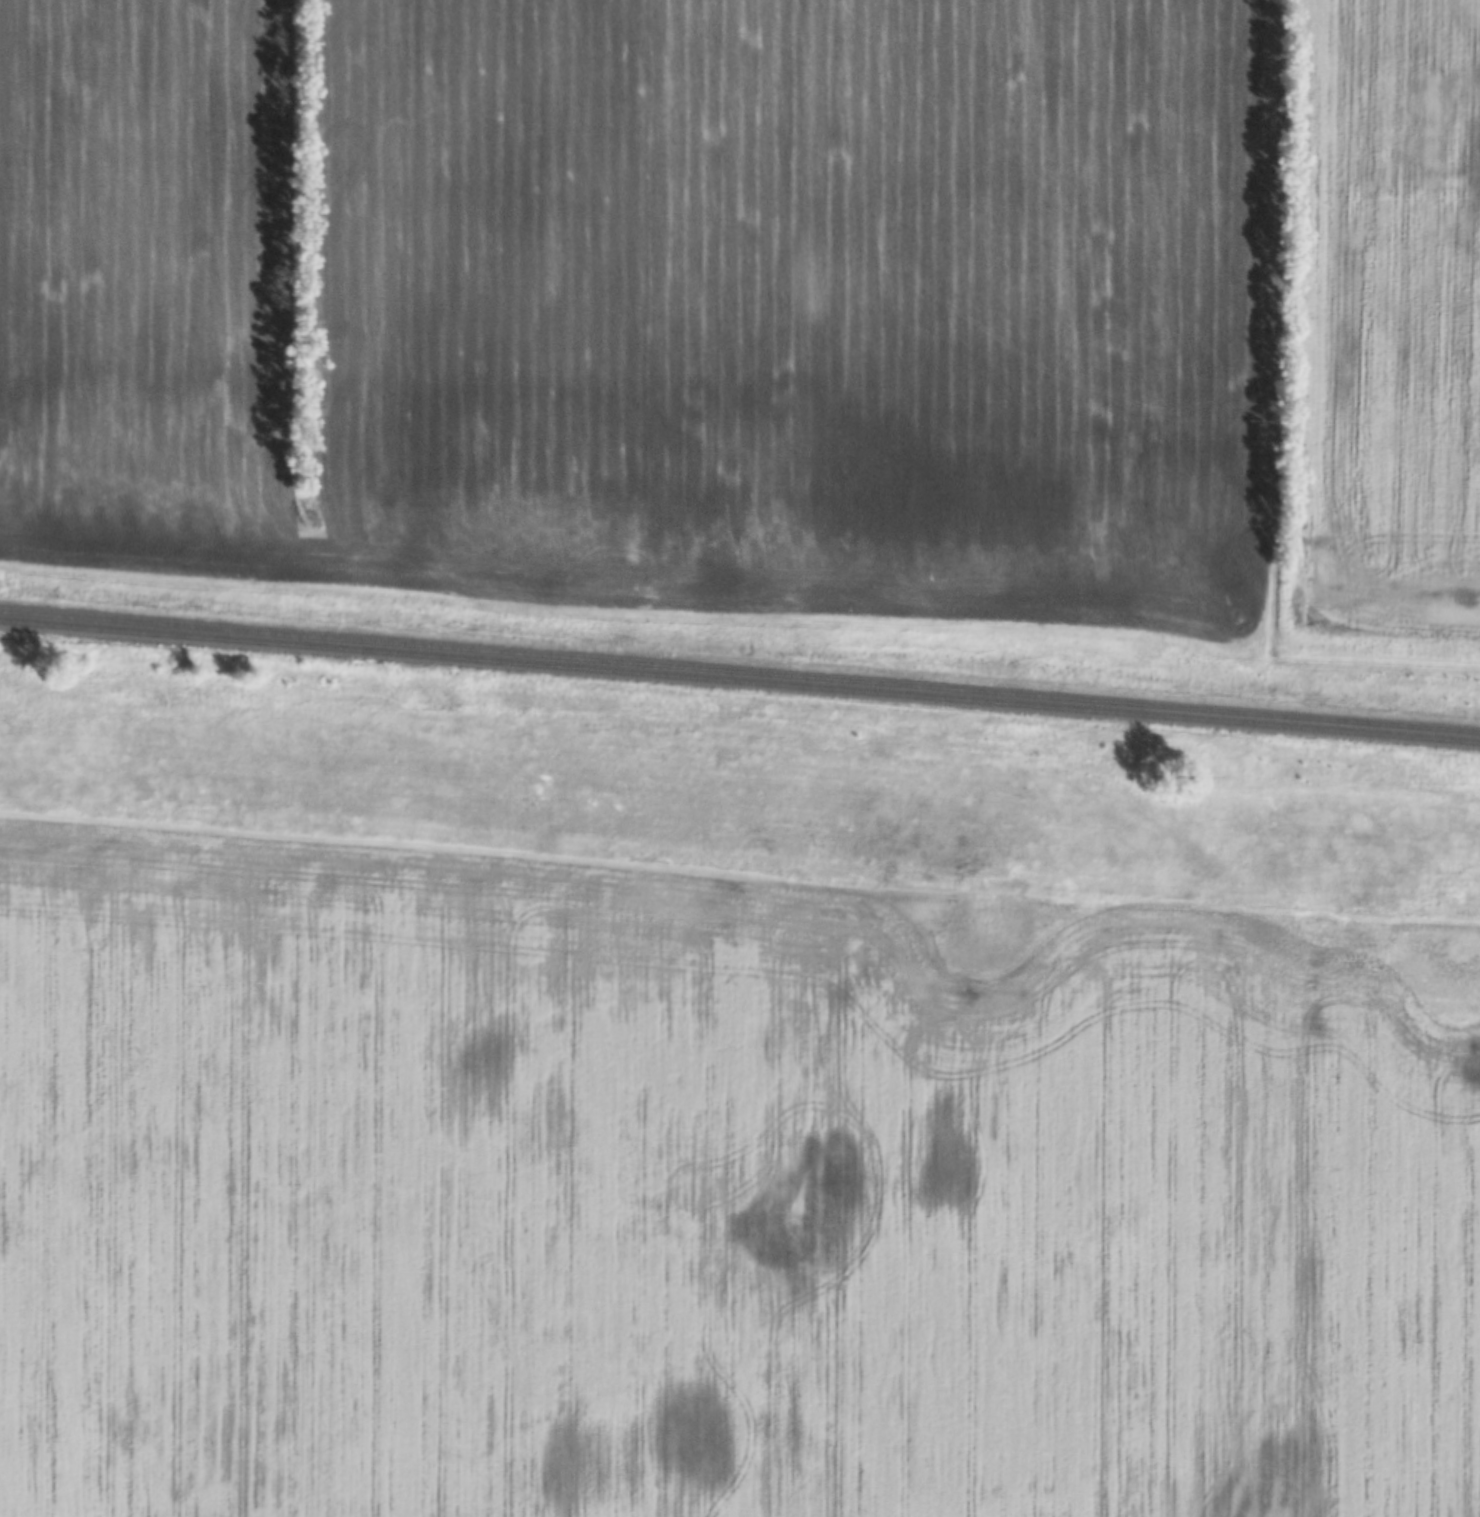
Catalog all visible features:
railway: (740, 665)
railway: (740, 679)

